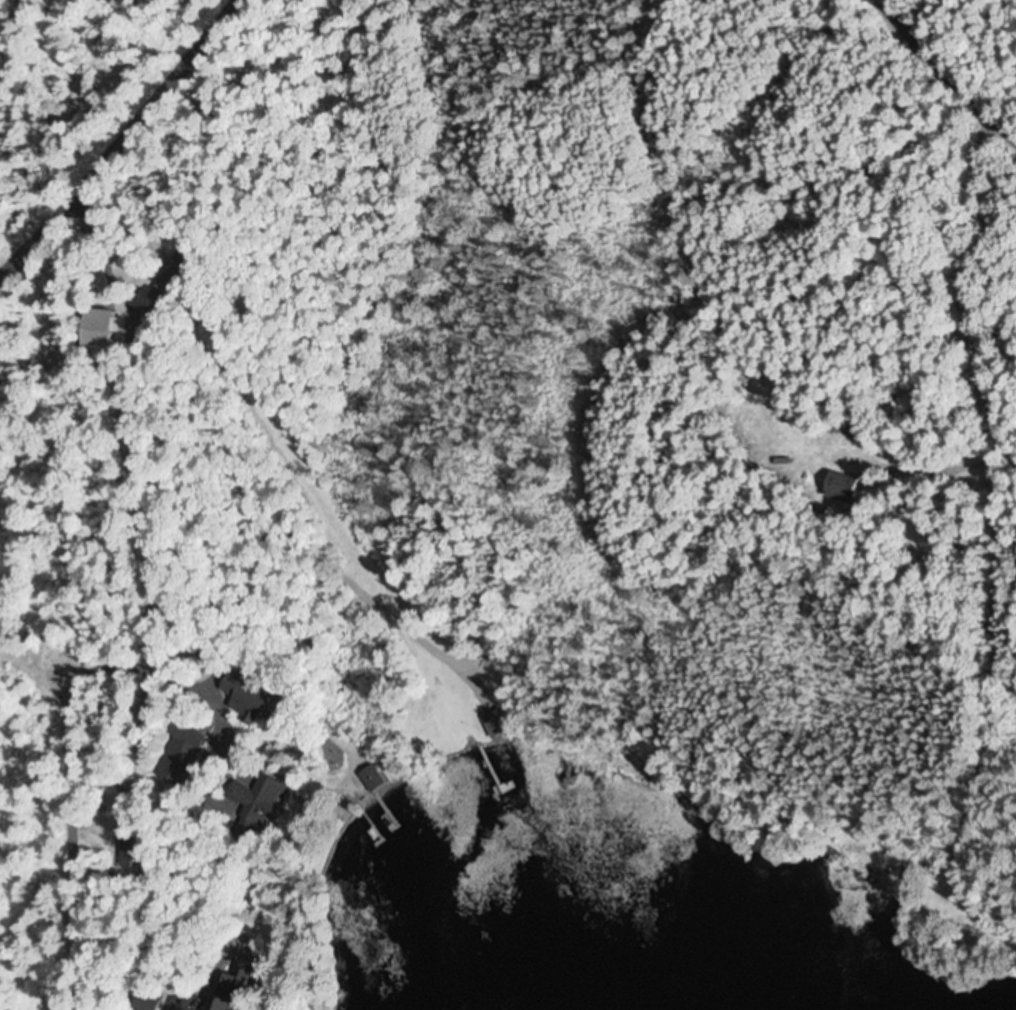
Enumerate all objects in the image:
road: (941, 73)
road: (1003, 88)
road: (121, 141)
road: (974, 431)
building: (848, 486)
building: (250, 699)
building: (498, 725)
building: (183, 754)
building: (373, 779)
building: (264, 798)
building: (141, 851)
road: (85, 974)
building: (231, 998)

